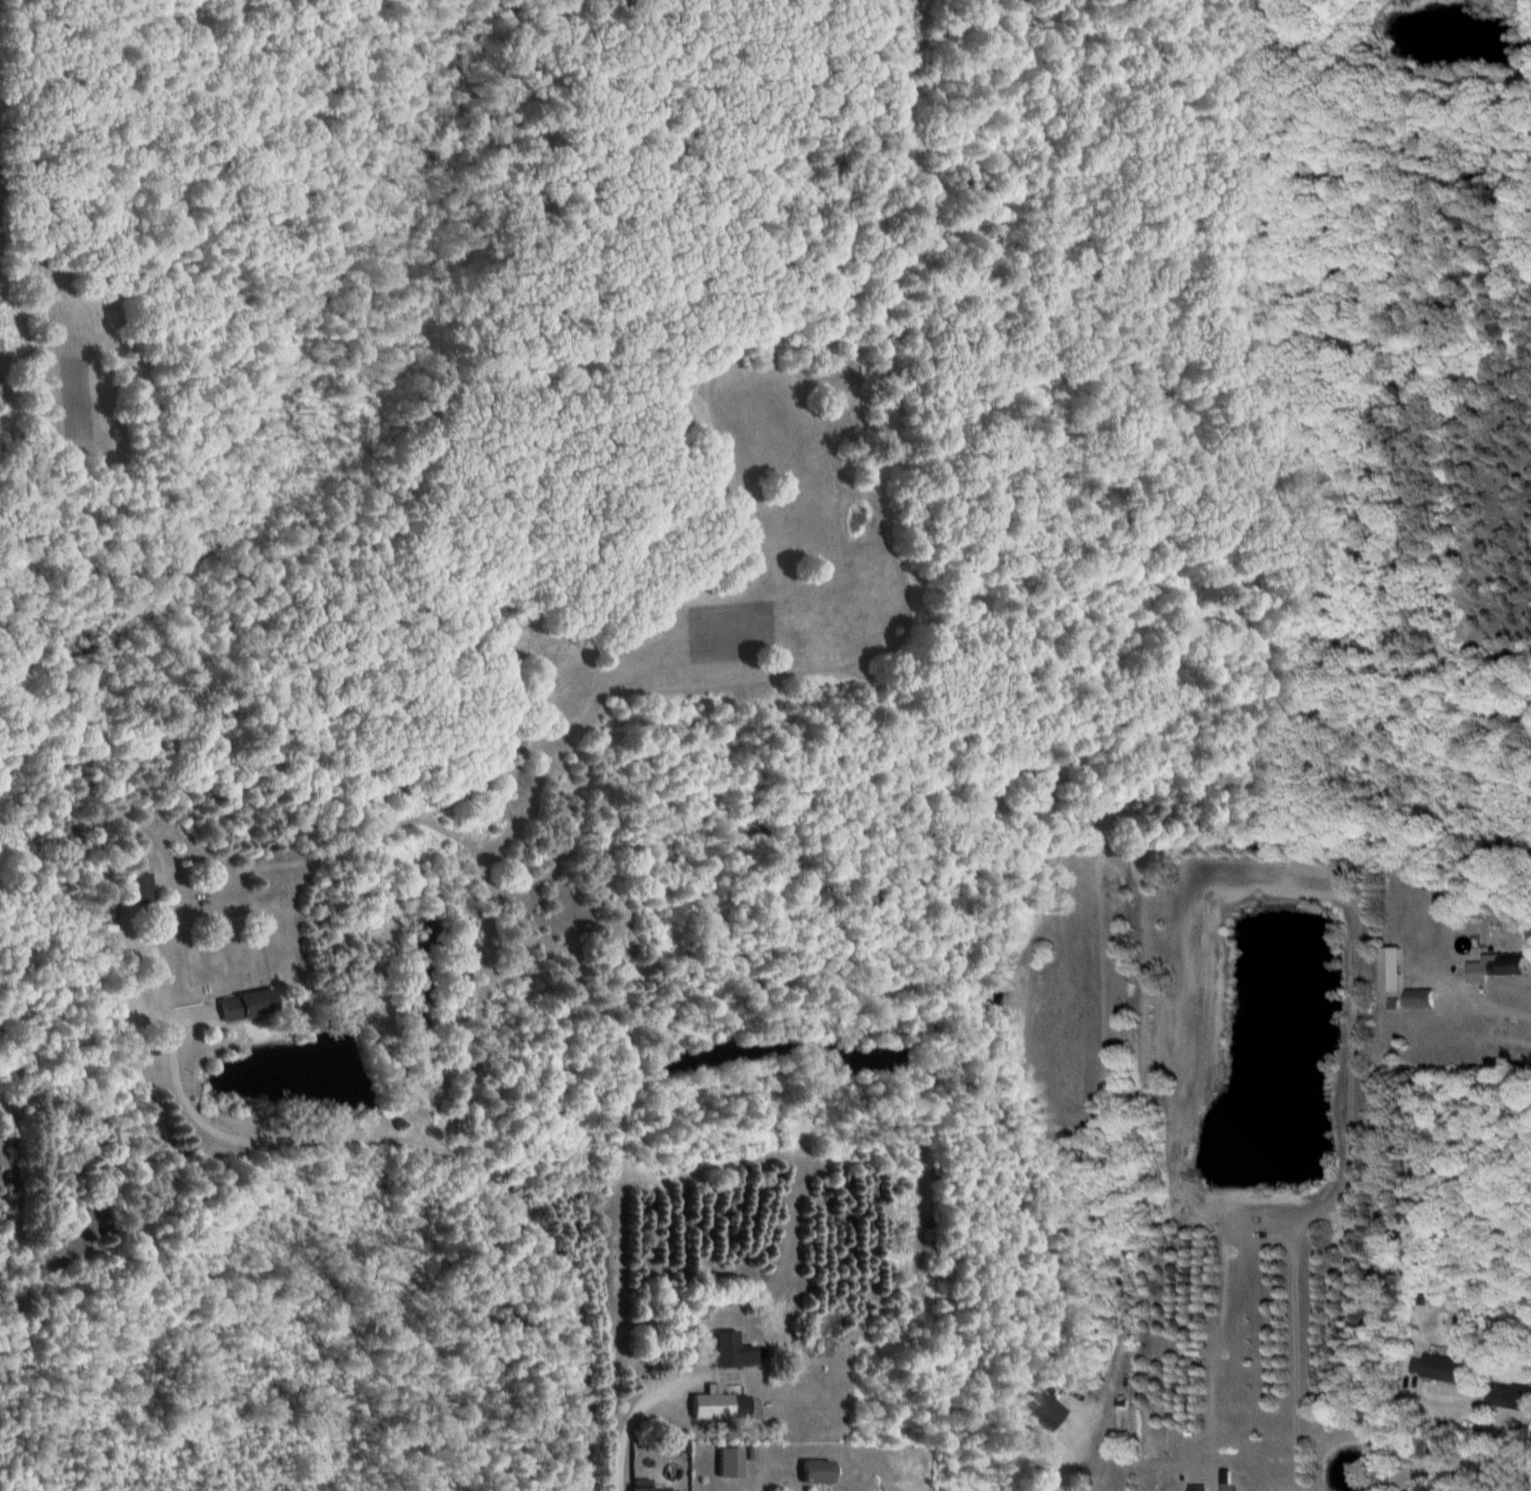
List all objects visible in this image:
building: (142, 890)
building: (1499, 968)
building: (1394, 970)
building: (1423, 1000)
building: (250, 1006)
road: (474, 1164)
building: (734, 1352)
building: (1441, 1369)
building: (1509, 1397)
building: (722, 1407)
road: (638, 1412)
building: (1050, 1415)
road: (1437, 1450)
building: (820, 1472)
building: (645, 1485)
building: (1199, 1490)

